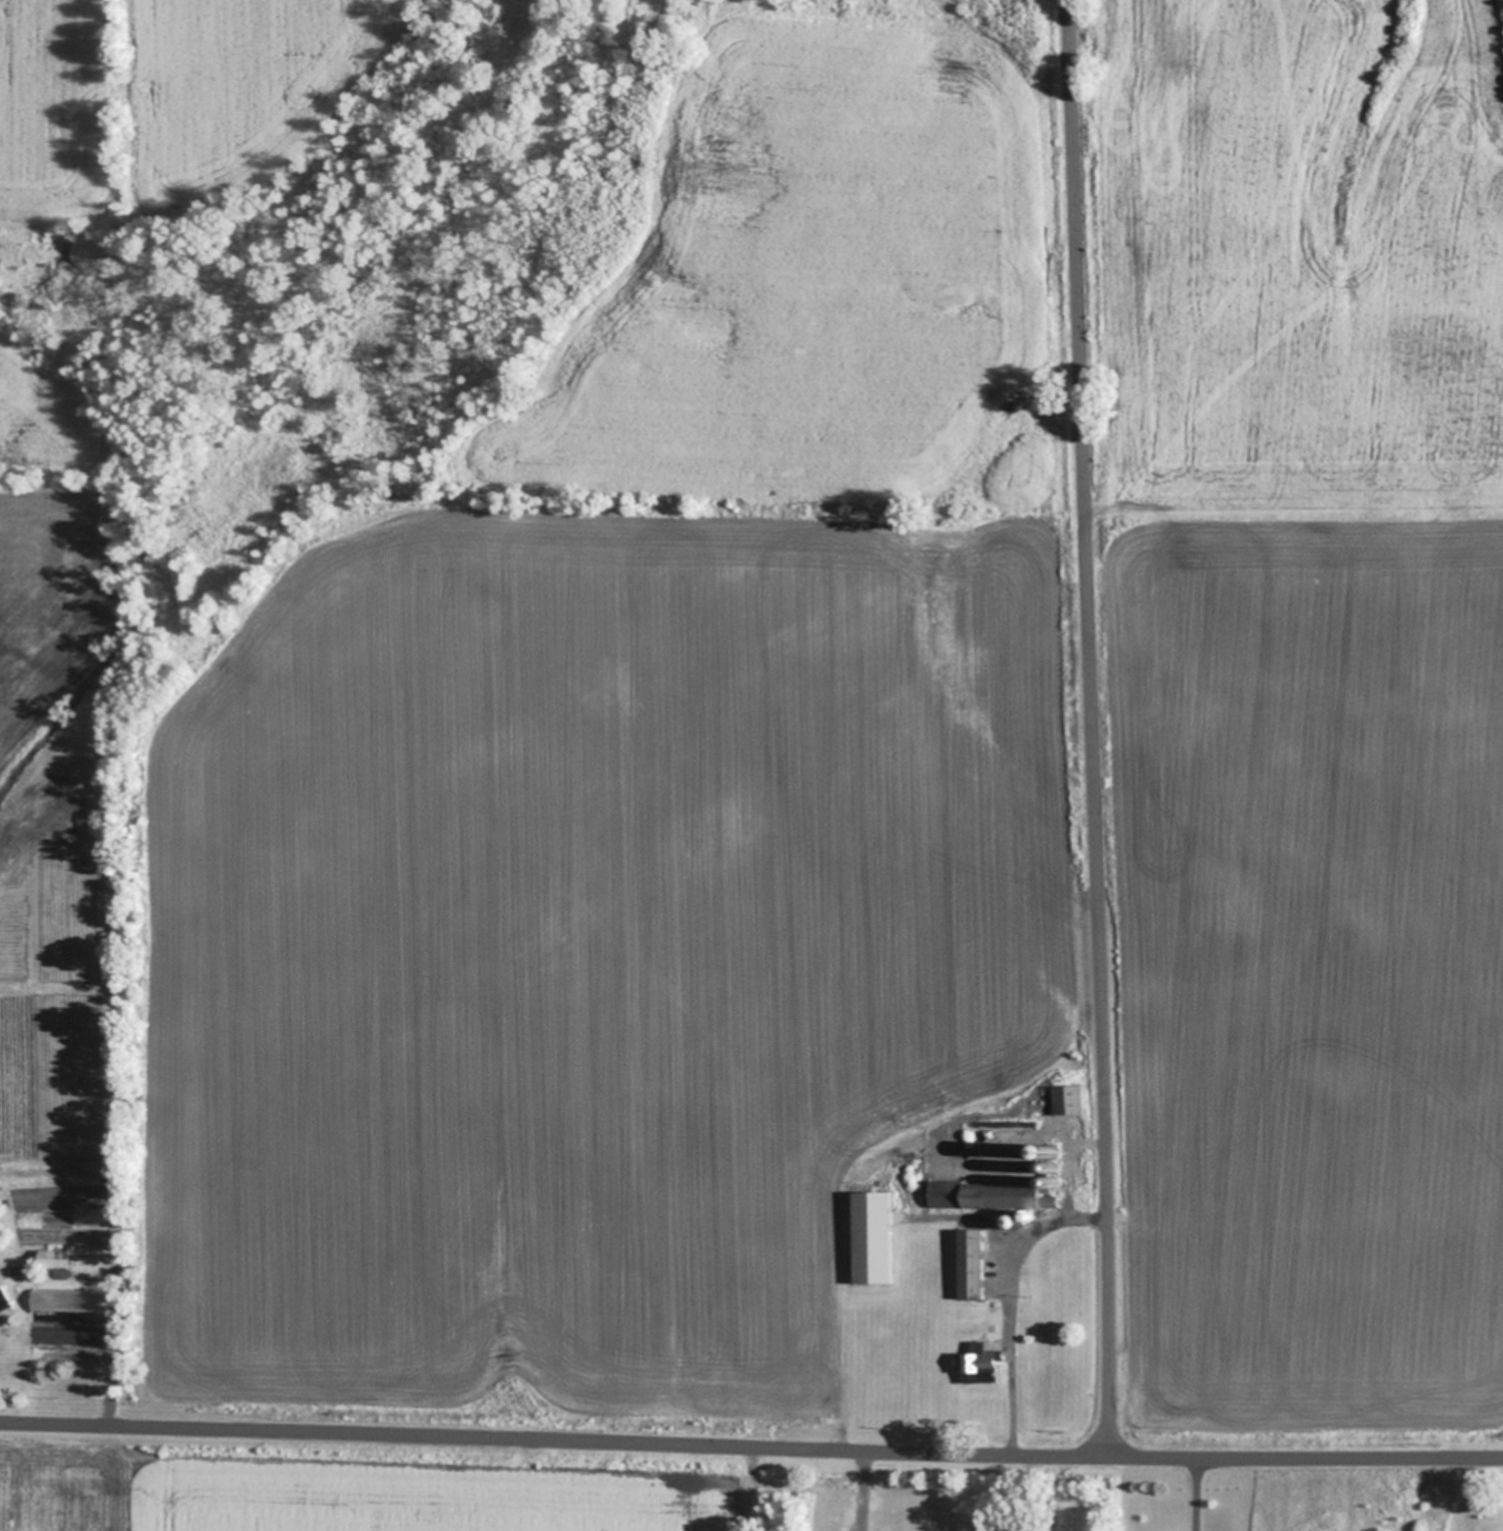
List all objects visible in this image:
road: (1090, 729)
building: (1070, 1099)
building: (1053, 1146)
building: (1054, 1166)
building: (1055, 1181)
building: (990, 1194)
building: (1029, 1215)
building: (1015, 1221)
building: (875, 1237)
building: (56, 1258)
building: (973, 1264)
building: (6, 1299)
building: (69, 1301)
building: (982, 1362)
road: (751, 1447)
road: (1198, 1495)

